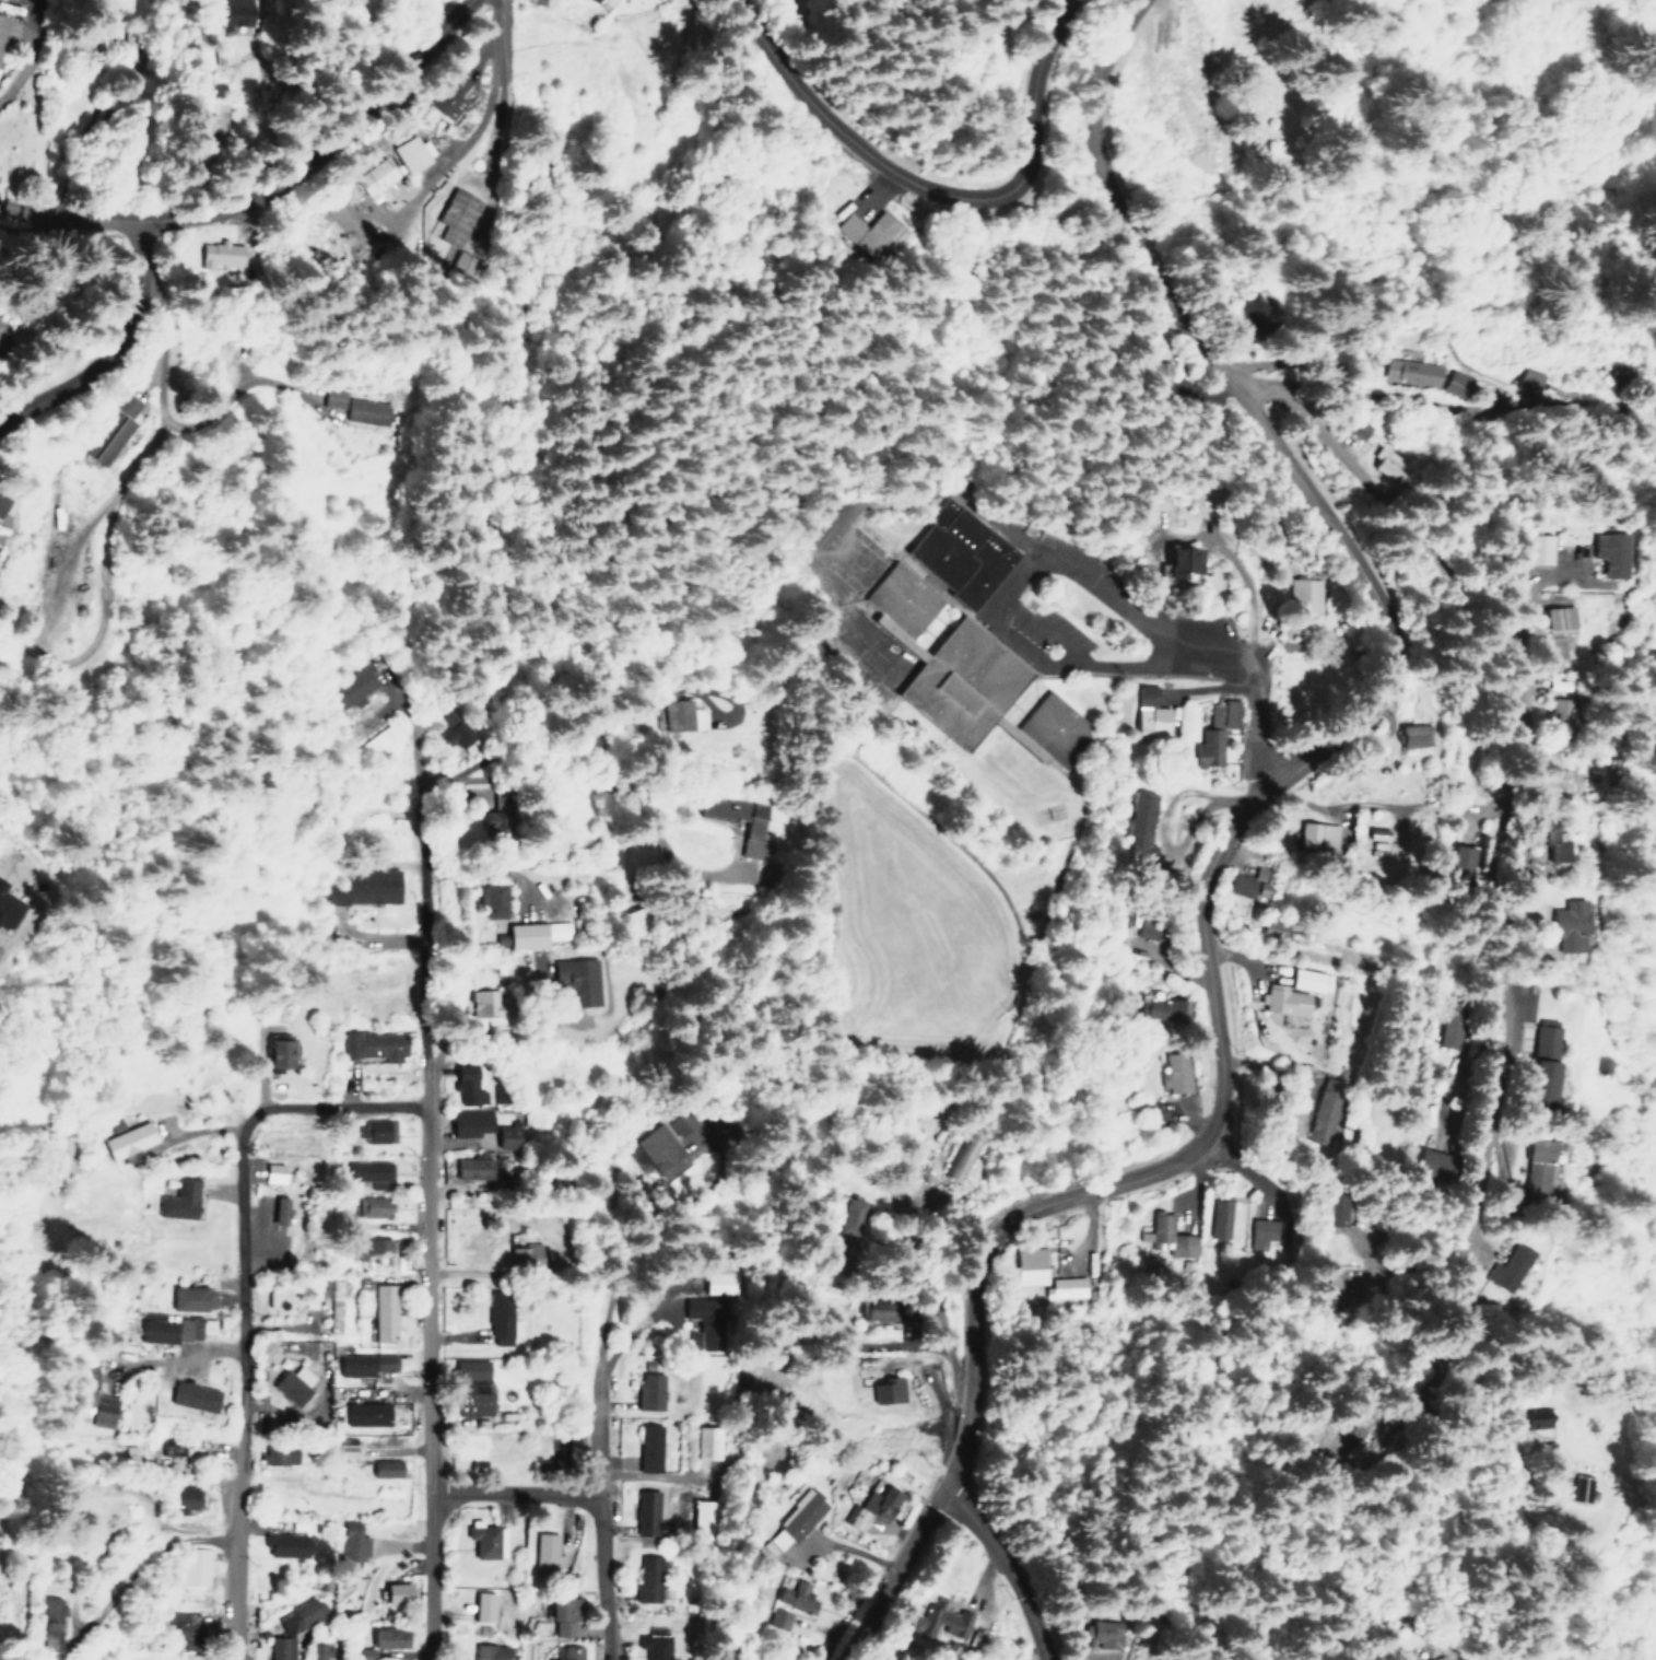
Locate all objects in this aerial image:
building: (588, 0)
building: (1, 27)
building: (447, 94)
road: (480, 121)
building: (411, 152)
road: (249, 162)
building: (373, 175)
road: (897, 184)
building: (341, 212)
building: (456, 215)
building: (859, 230)
building: (213, 255)
building: (465, 261)
building: (1248, 306)
road: (106, 351)
building: (1410, 371)
building: (1620, 371)
building: (1146, 378)
building: (1526, 381)
building: (1455, 383)
building: (345, 404)
building: (126, 405)
road: (1248, 412)
building: (1346, 428)
building: (106, 439)
building: (1373, 464)
building: (1526, 550)
building: (959, 553)
building: (1597, 554)
building: (1178, 561)
road: (1083, 570)
building: (1303, 595)
building: (1548, 619)
building: (964, 674)
road: (1253, 685)
building: (351, 688)
building: (1149, 711)
building: (680, 713)
building: (1213, 733)
building: (1416, 735)
building: (1546, 780)
building: (1139, 829)
building: (1316, 838)
building: (751, 839)
building: (1540, 839)
road: (1506, 843)
building: (1455, 857)
building: (1249, 882)
building: (364, 886)
building: (491, 899)
building: (7, 904)
building: (632, 921)
building: (1557, 924)
building: (1148, 926)
building: (1272, 926)
building: (533, 933)
building: (576, 980)
building: (1296, 992)
building: (480, 1002)
building: (1163, 1010)
building: (371, 1044)
building: (274, 1051)
building: (1536, 1062)
building: (1174, 1071)
building: (466, 1084)
road: (333, 1114)
building: (1323, 1121)
building: (468, 1122)
building: (375, 1131)
building: (506, 1135)
building: (128, 1139)
building: (663, 1145)
building: (1422, 1160)
building: (470, 1168)
building: (270, 1171)
building: (367, 1171)
building: (1525, 1171)
building: (176, 1200)
road: (1062, 1201)
road: (426, 1203)
building: (372, 1205)
building: (275, 1209)
building: (850, 1215)
building: (1218, 1215)
building: (1335, 1216)
building: (1167, 1236)
building: (373, 1247)
building: (524, 1253)
building: (1030, 1265)
building: (1502, 1267)
building: (719, 1282)
building: (1065, 1287)
building: (1337, 1287)
building: (188, 1297)
building: (331, 1301)
building: (383, 1311)
building: (881, 1316)
building: (498, 1319)
building: (167, 1328)
building: (362, 1364)
building: (291, 1383)
building: (468, 1387)
building: (885, 1390)
road: (239, 1391)
building: (648, 1391)
building: (190, 1395)
building: (94, 1396)
building: (364, 1413)
building: (1535, 1416)
building: (707, 1442)
building: (183, 1447)
building: (646, 1447)
building: (344, 1450)
building: (277, 1454)
building: (383, 1468)
road: (595, 1469)
building: (1575, 1487)
road: (512, 1494)
building: (879, 1501)
building: (645, 1508)
building: (703, 1513)
building: (853, 1518)
building: (791, 1522)
building: (484, 1539)
building: (283, 1544)
building: (348, 1544)
building: (545, 1554)
building: (195, 1566)
road: (1003, 1567)
building: (647, 1577)
building: (392, 1592)
building: (797, 1595)
building: (481, 1605)
building: (560, 1614)
building: (778, 1617)
building: (50, 1620)
building: (939, 1620)
building: (184, 1623)
building: (294, 1626)
building: (379, 1640)
building: (654, 1646)
building: (321, 1651)
building: (490, 1651)
building: (566, 1652)
building: (1429, 1657)

